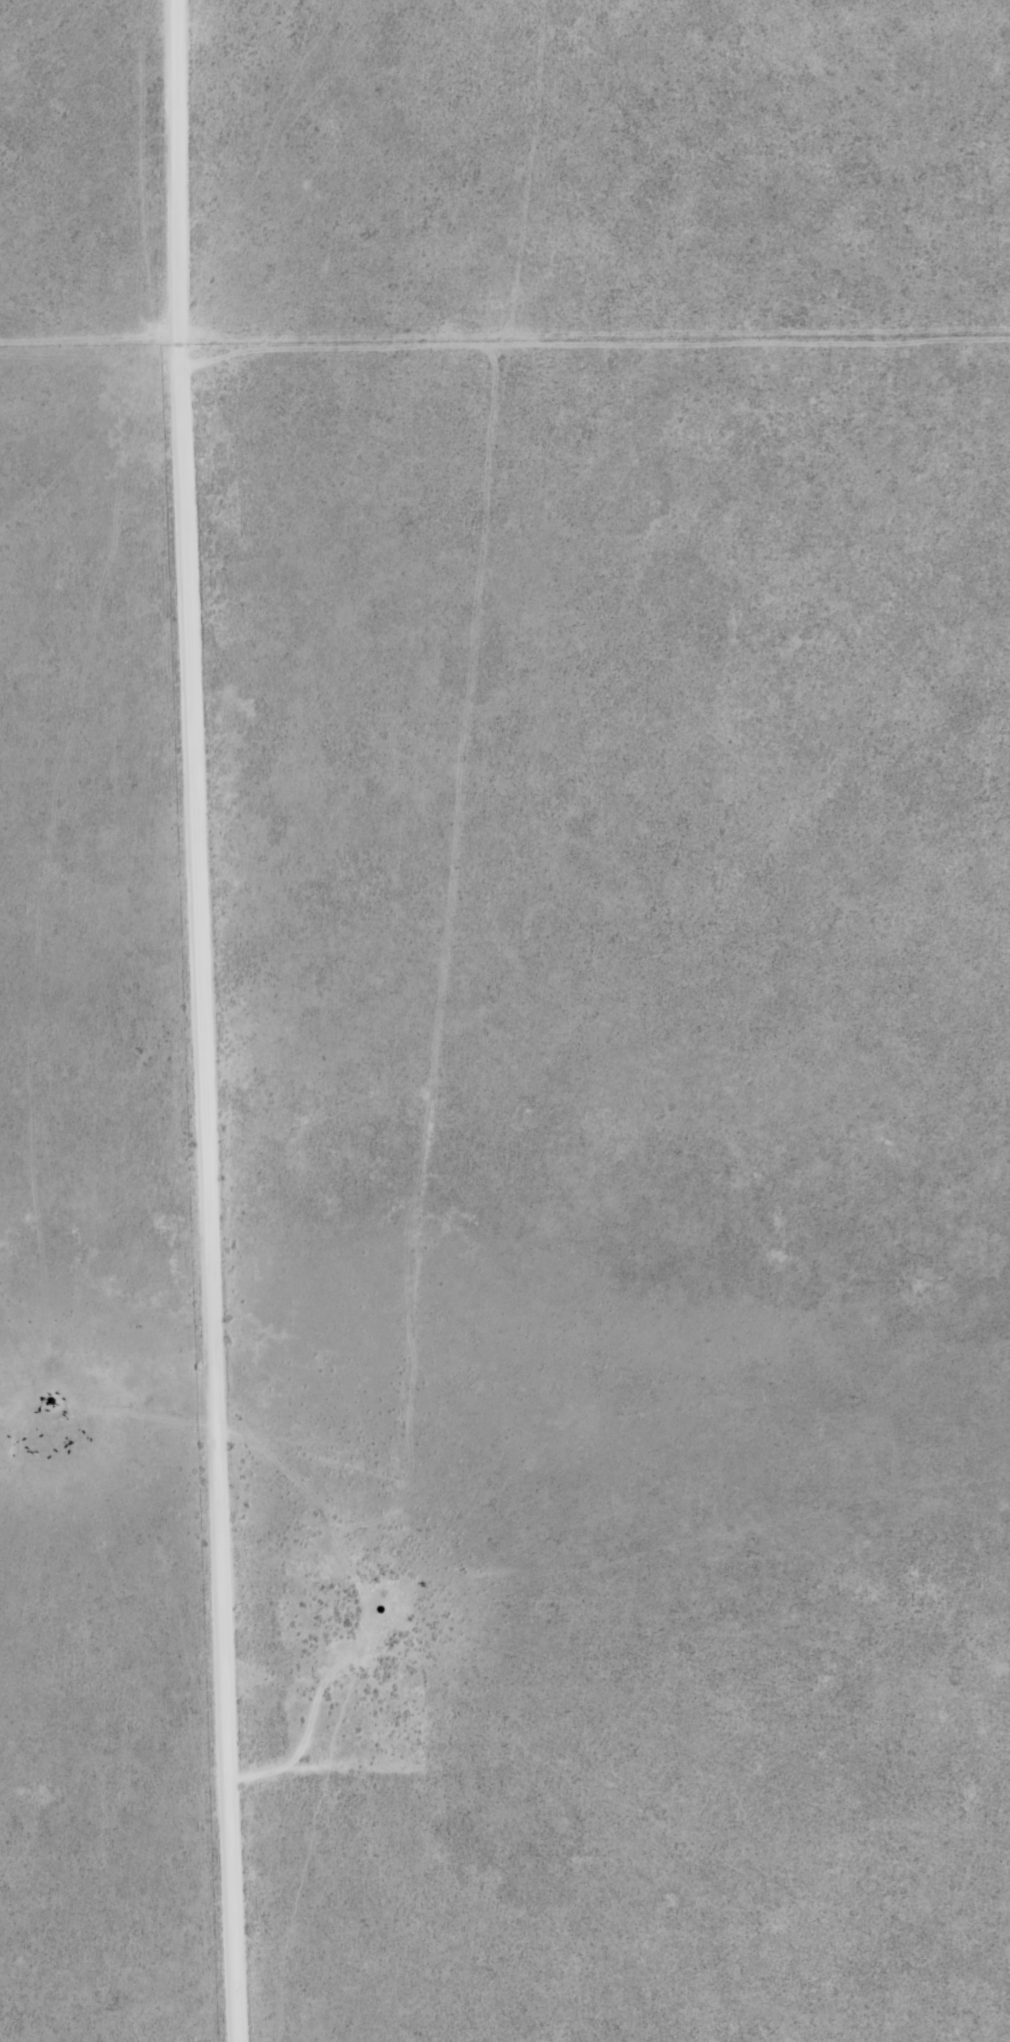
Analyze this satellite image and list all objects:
road: (179, 172)
road: (208, 1193)

